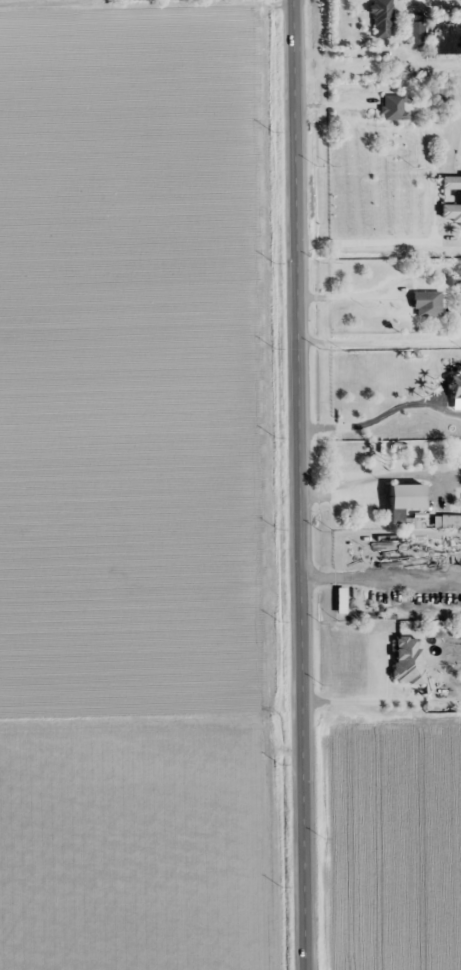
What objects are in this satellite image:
building: (382, 19)
building: (415, 34)
building: (394, 108)
building: (460, 197)
building: (427, 304)
road: (379, 351)
road: (298, 485)
building: (407, 502)
building: (450, 522)
building: (407, 660)
road: (381, 700)

